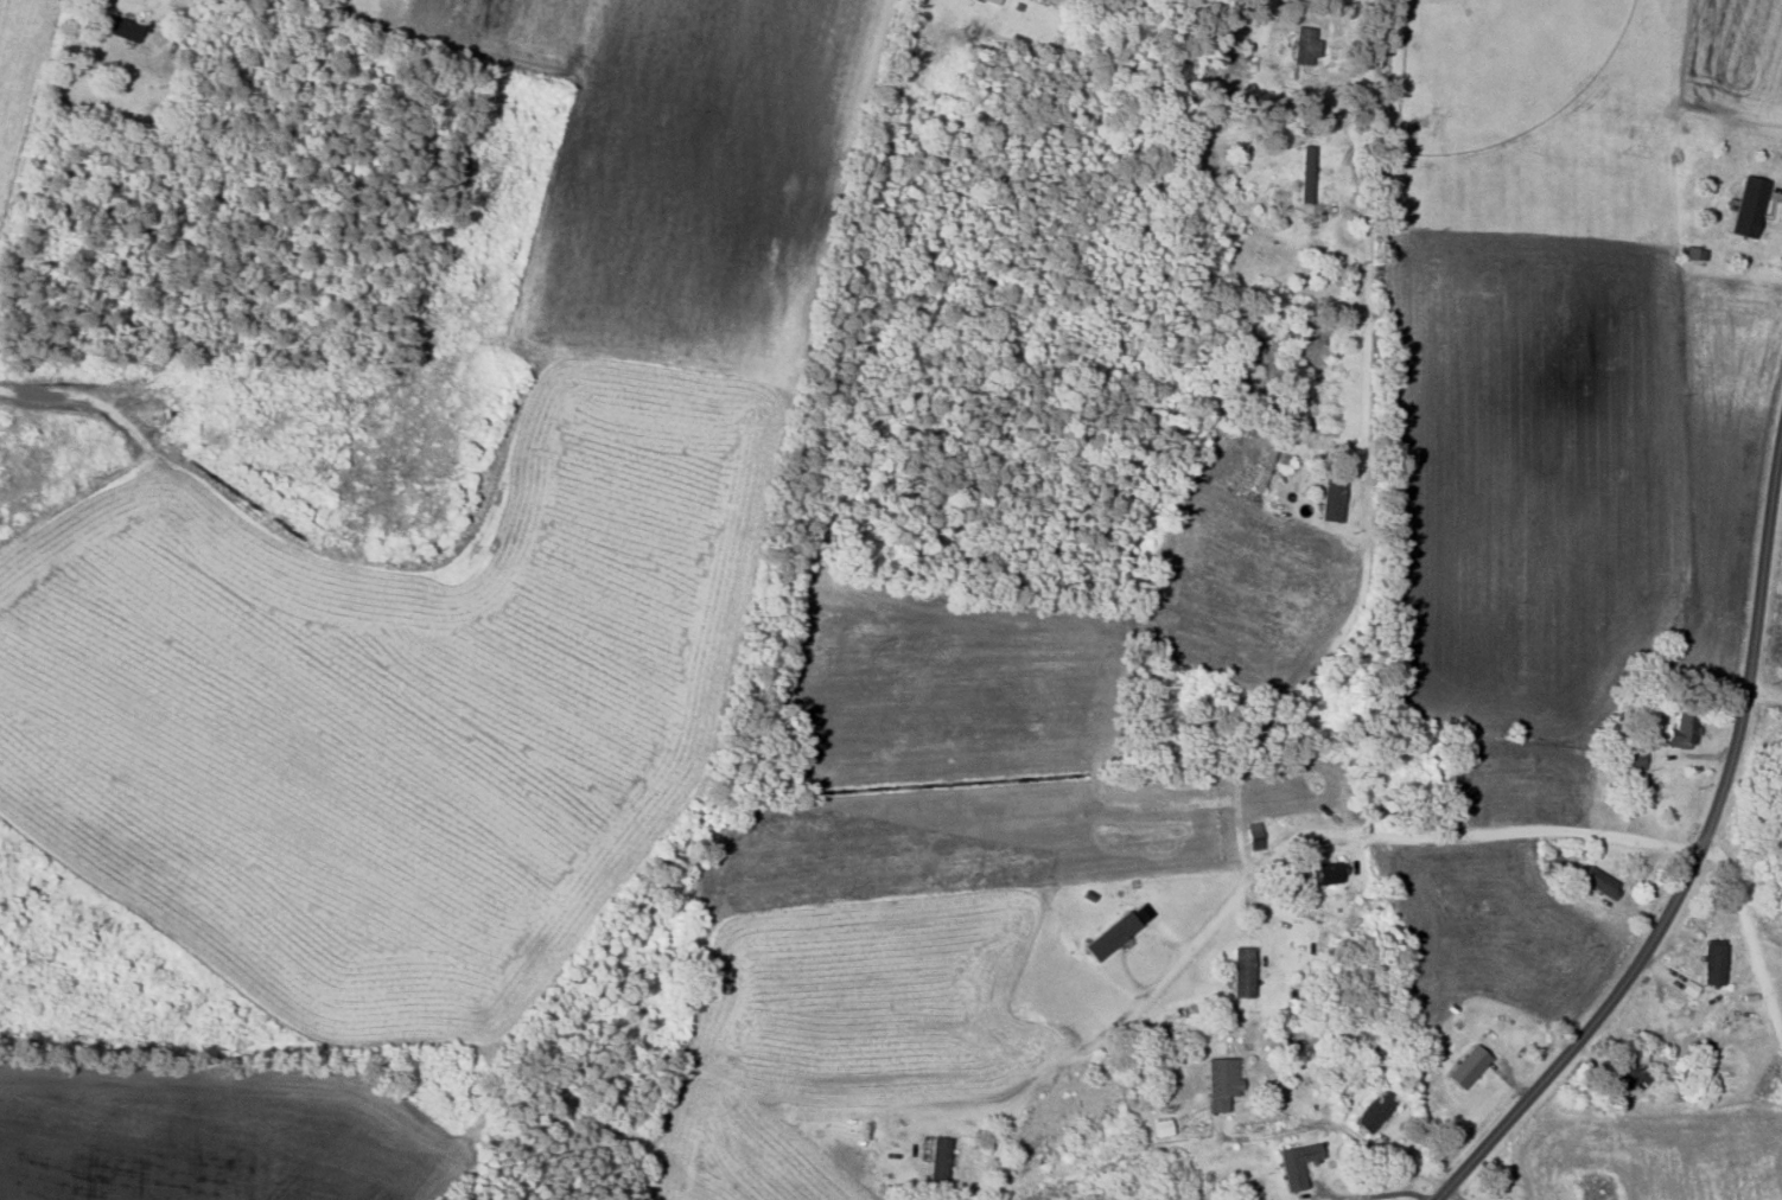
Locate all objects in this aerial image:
building: (916, 1)
building: (991, 1)
building: (119, 27)
building: (1303, 43)
building: (1304, 174)
building: (1745, 206)
road: (1368, 219)
building: (1692, 253)
building: (1329, 499)
road: (1773, 697)
building: (1680, 730)
building: (1631, 758)
building: (1253, 835)
road: (1259, 863)
road: (1682, 868)
building: (1326, 872)
building: (1597, 880)
building: (1107, 934)
building: (1712, 963)
building: (1240, 971)
building: (1688, 988)
building: (1465, 1065)
building: (1629, 1071)
building: (1218, 1081)
building: (1371, 1110)
building: (1160, 1126)
building: (936, 1157)
building: (1294, 1163)

